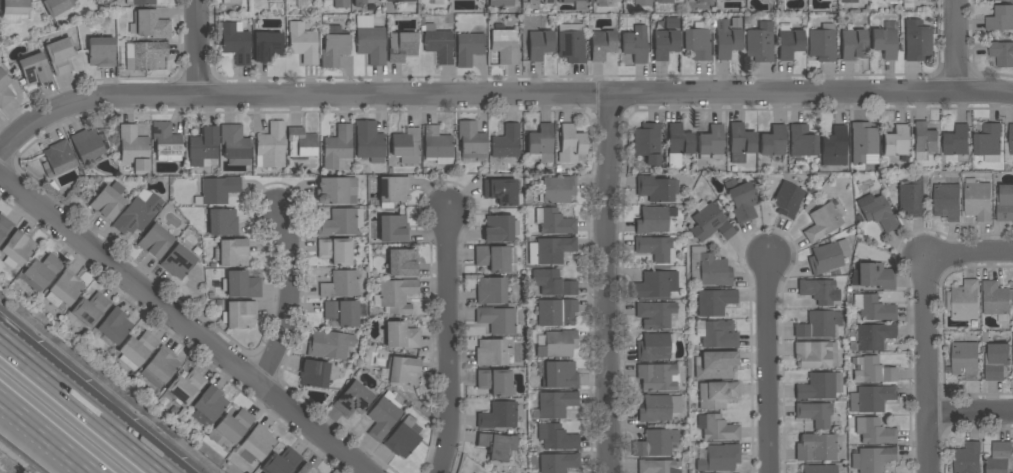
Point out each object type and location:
building: (399, 0)
building: (734, 0)
building: (767, 0)
building: (1002, 0)
building: (231, 1)
building: (539, 1)
building: (669, 1)
building: (702, 1)
building: (848, 1)
building: (889, 1)
building: (140, 2)
building: (358, 2)
building: (500, 3)
building: (642, 3)
building: (341, 4)
building: (908, 4)
building: (576, 5)
building: (57, 6)
building: (14, 10)
building: (1001, 19)
building: (149, 25)
building: (726, 39)
building: (789, 41)
building: (917, 41)
building: (236, 42)
building: (370, 42)
building: (539, 42)
building: (665, 42)
building: (884, 42)
building: (303, 43)
building: (438, 43)
building: (571, 43)
building: (697, 43)
building: (760, 43)
building: (822, 43)
building: (852, 43)
building: (602, 44)
building: (635, 44)
building: (267, 46)
building: (401, 46)
building: (505, 46)
road: (957, 47)
building: (469, 48)
road: (197, 49)
building: (334, 50)
building: (101, 52)
building: (1002, 54)
building: (60, 55)
building: (144, 55)
building: (34, 69)
building: (4, 89)
road: (498, 97)
building: (925, 138)
building: (1011, 139)
building: (471, 140)
building: (679, 140)
building: (772, 141)
building: (802, 141)
building: (863, 141)
building: (895, 141)
building: (166, 142)
building: (369, 142)
building: (506, 142)
building: (957, 142)
building: (436, 143)
building: (648, 143)
building: (711, 143)
building: (740, 143)
building: (989, 143)
building: (87, 144)
building: (301, 144)
building: (541, 144)
building: (571, 144)
building: (234, 145)
building: (271, 146)
building: (406, 146)
building: (337, 147)
building: (834, 147)
building: (203, 148)
building: (134, 149)
building: (58, 158)
building: (656, 188)
building: (218, 189)
building: (393, 189)
building: (558, 189)
building: (336, 190)
building: (503, 192)
building: (911, 196)
building: (741, 200)
building: (787, 200)
building: (978, 200)
building: (947, 201)
building: (108, 202)
building: (1005, 203)
building: (138, 212)
building: (877, 212)
building: (654, 219)
building: (221, 222)
building: (554, 222)
building: (709, 222)
building: (822, 222)
building: (341, 223)
building: (4, 227)
building: (500, 228)
building: (393, 229)
building: (155, 242)
building: (656, 248)
building: (17, 249)
building: (550, 250)
building: (335, 251)
building: (232, 252)
road: (970, 255)
building: (828, 257)
building: (492, 258)
building: (178, 261)
building: (402, 262)
building: (710, 270)
building: (40, 273)
building: (873, 276)
building: (553, 283)
road: (607, 284)
building: (241, 285)
building: (340, 285)
building: (655, 285)
building: (65, 289)
building: (491, 291)
building: (819, 291)
building: (396, 295)
road: (290, 298)
building: (964, 300)
building: (996, 300)
building: (713, 302)
building: (873, 308)
building: (91, 309)
building: (342, 313)
building: (554, 313)
building: (239, 314)
building: (656, 314)
building: (498, 320)
road: (185, 324)
building: (818, 324)
building: (113, 327)
building: (717, 333)
building: (401, 336)
building: (870, 337)
road: (449, 341)
building: (329, 344)
building: (558, 344)
building: (653, 347)
building: (137, 350)
building: (492, 352)
building: (815, 355)
building: (965, 360)
building: (996, 361)
road: (769, 362)
road: (928, 364)
building: (716, 365)
building: (160, 367)
building: (874, 370)
building: (403, 371)
building: (313, 373)
building: (558, 374)
building: (657, 377)
building: (494, 381)
building: (820, 386)
building: (185, 389)
building: (716, 394)
building: (352, 398)
building: (871, 398)
building: (554, 404)
road: (83, 406)
building: (208, 406)
building: (658, 408)
road: (971, 413)
building: (814, 414)
building: (498, 416)
building: (382, 418)
building: (231, 427)
building: (716, 428)
building: (874, 431)
road: (48, 433)
building: (403, 437)
building: (557, 437)
building: (655, 443)
building: (256, 444)
building: (497, 446)
building: (816, 447)
building: (720, 458)
building: (968, 458)
building: (999, 458)
building: (873, 459)
building: (282, 462)
building: (558, 462)
building: (657, 466)
building: (306, 469)
building: (819, 469)

